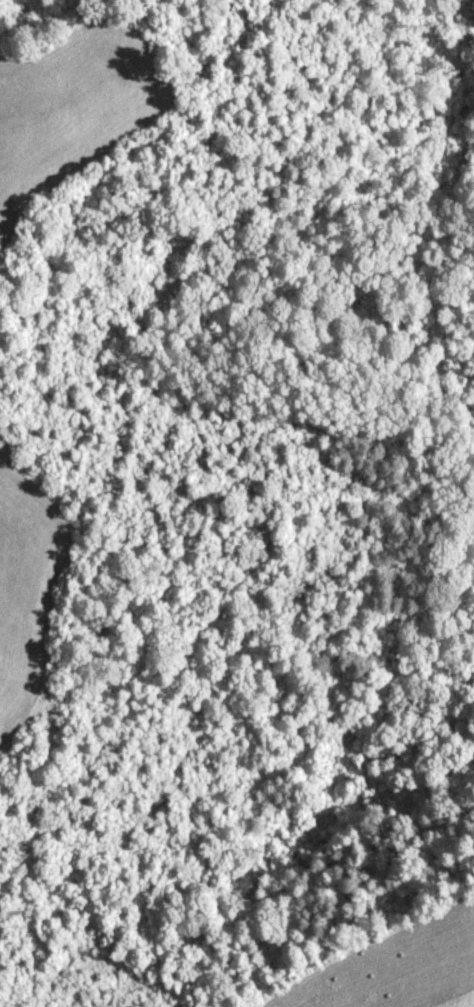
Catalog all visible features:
road: (439, 83)

